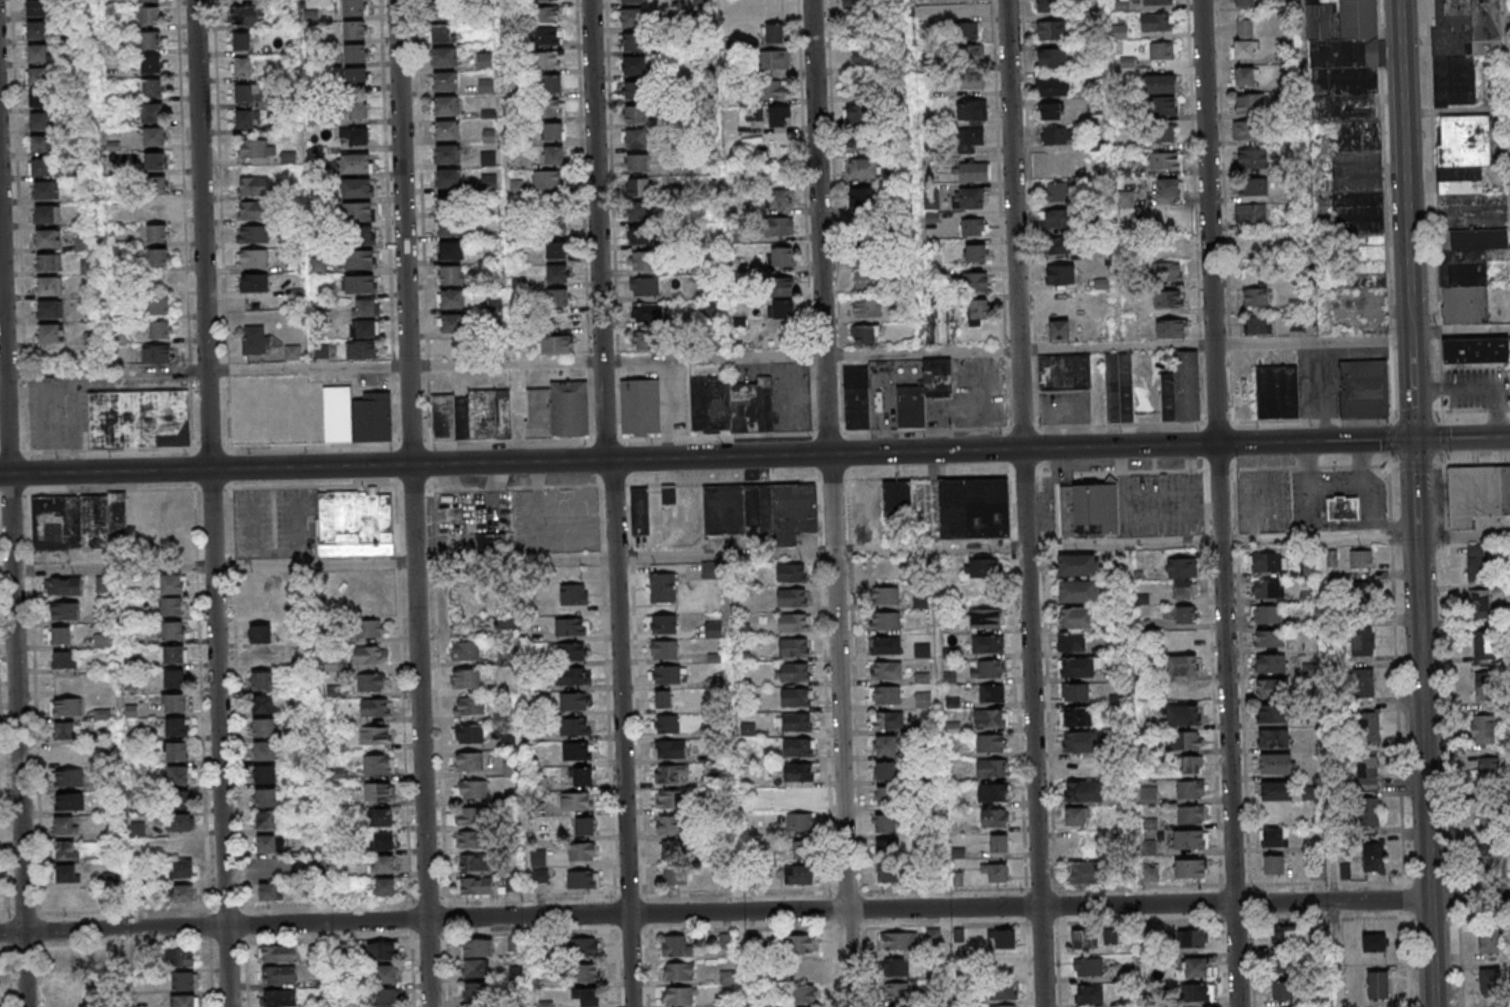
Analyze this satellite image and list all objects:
building: (149, 0)
building: (631, 1)
building: (1158, 1)
building: (1244, 2)
building: (851, 4)
building: (1122, 5)
building: (1046, 6)
building: (36, 8)
building: (356, 8)
building: (442, 11)
building: (547, 14)
building: (243, 15)
building: (148, 16)
building: (630, 17)
building: (1156, 21)
building: (354, 29)
building: (966, 30)
building: (1051, 30)
building: (36, 31)
building: (1119, 31)
building: (856, 32)
building: (774, 33)
building: (441, 34)
building: (548, 35)
building: (1244, 39)
building: (149, 40)
building: (241, 41)
building: (633, 42)
road: (1508, 45)
building: (1462, 46)
building: (1161, 51)
building: (355, 53)
building: (38, 54)
building: (971, 54)
building: (443, 57)
building: (861, 57)
building: (1052, 57)
building: (778, 59)
building: (547, 60)
building: (484, 61)
building: (151, 65)
building: (634, 65)
building: (242, 66)
building: (357, 76)
building: (1243, 77)
building: (444, 82)
building: (1160, 83)
building: (550, 84)
building: (486, 87)
building: (1050, 87)
building: (40, 88)
building: (854, 88)
building: (151, 89)
building: (774, 89)
building: (633, 90)
building: (247, 92)
building: (1249, 104)
building: (1163, 105)
building: (444, 106)
building: (357, 108)
building: (551, 108)
building: (971, 109)
building: (1050, 111)
building: (152, 113)
building: (635, 114)
building: (858, 115)
building: (779, 116)
building: (244, 119)
building: (40, 122)
building: (1246, 129)
building: (445, 131)
building: (551, 131)
building: (1158, 134)
building: (1349, 134)
building: (355, 135)
building: (1055, 135)
building: (153, 138)
building: (635, 138)
building: (969, 138)
building: (859, 142)
building: (40, 145)
building: (256, 148)
building: (1462, 153)
building: (446, 155)
building: (552, 155)
building: (1251, 158)
building: (154, 161)
building: (637, 162)
building: (1166, 162)
building: (355, 163)
building: (41, 168)
building: (862, 169)
building: (972, 170)
road: (1309, 170)
road: (1112, 173)
building: (447, 179)
building: (547, 180)
building: (159, 184)
building: (253, 185)
building: (638, 186)
building: (1253, 186)
building: (358, 188)
building: (1168, 189)
building: (44, 190)
building: (1057, 192)
building: (968, 197)
building: (863, 198)
building: (778, 199)
building: (449, 203)
building: (253, 209)
building: (158, 210)
building: (358, 211)
building: (639, 211)
building: (47, 214)
building: (1250, 214)
building: (1058, 219)
building: (557, 220)
road: (1412, 220)
building: (974, 226)
building: (448, 228)
building: (779, 228)
building: (253, 233)
building: (157, 234)
building: (362, 236)
building: (640, 236)
building: (45, 238)
building: (1059, 245)
building: (557, 250)
building: (449, 251)
building: (976, 252)
building: (253, 257)
building: (782, 257)
building: (157, 258)
building: (361, 260)
building: (48, 261)
building: (642, 261)
building: (1167, 272)
building: (557, 273)
building: (1467, 273)
building: (1060, 274)
building: (451, 275)
building: (865, 280)
building: (254, 282)
building: (975, 282)
building: (359, 283)
building: (48, 285)
building: (644, 287)
building: (781, 287)
building: (1255, 296)
building: (559, 297)
building: (450, 298)
building: (1168, 300)
building: (1061, 301)
building: (159, 305)
building: (365, 307)
building: (865, 307)
building: (48, 308)
building: (781, 309)
building: (978, 311)
building: (648, 313)
building: (939, 321)
building: (452, 322)
building: (1256, 324)
building: (367, 328)
building: (1059, 329)
building: (1168, 329)
road: (1463, 329)
building: (159, 330)
building: (51, 332)
building: (865, 334)
building: (256, 339)
building: (645, 342)
road: (1220, 343)
building: (556, 344)
building: (362, 349)
building: (1475, 350)
building: (292, 352)
road: (927, 353)
building: (157, 355)
road: (719, 360)
road: (511, 365)
road: (313, 369)
building: (1064, 372)
road: (110, 374)
road: (4, 376)
building: (1119, 387)
building: (1363, 388)
building: (1184, 389)
building: (1277, 392)
building: (923, 394)
building: (857, 397)
building: (731, 406)
building: (640, 407)
building: (558, 410)
building: (357, 415)
building: (472, 415)
building: (138, 419)
road: (77, 423)
road: (51, 424)
road: (1465, 438)
traffic signals: (1421, 440)
road: (1321, 441)
road: (611, 460)
road: (1420, 466)
road: (1336, 482)
building: (1477, 494)
building: (897, 497)
road: (619, 502)
road: (216, 503)
road: (419, 503)
road: (836, 503)
road: (1029, 503)
road: (1225, 503)
building: (1342, 507)
building: (974, 508)
building: (761, 510)
building: (1088, 510)
building: (640, 511)
building: (79, 521)
building: (355, 523)
road: (1466, 537)
building: (491, 540)
road: (1325, 540)
road: (1129, 544)
road: (826, 552)
road: (521, 558)
road: (15, 559)
building: (1361, 559)
building: (1268, 562)
road: (318, 563)
building: (1478, 563)
building: (1077, 566)
road: (116, 567)
building: (1182, 567)
building: (982, 568)
building: (791, 572)
building: (171, 584)
building: (62, 586)
building: (663, 587)
building: (1185, 589)
building: (1267, 589)
building: (1079, 592)
building: (574, 594)
building: (1363, 594)
building: (885, 596)
building: (792, 597)
building: (476, 601)
building: (1479, 603)
building: (171, 606)
building: (63, 610)
building: (1266, 613)
building: (1186, 614)
building: (985, 617)
building: (1075, 618)
building: (884, 620)
building: (794, 622)
building: (508, 623)
building: (662, 624)
building: (570, 626)
building: (369, 629)
building: (713, 629)
building: (173, 630)
building: (60, 634)
building: (261, 635)
building: (1267, 638)
building: (1364, 641)
building: (1073, 642)
building: (987, 643)
building: (884, 645)
building: (793, 647)
building: (1484, 647)
building: (662, 649)
building: (922, 650)
building: (572, 651)
building: (465, 652)
building: (173, 654)
building: (370, 655)
building: (64, 659)
building: (262, 659)
building: (1269, 662)
building: (1181, 665)
building: (1079, 667)
building: (987, 668)
road: (1427, 669)
building: (886, 670)
building: (794, 671)
building: (668, 674)
building: (572, 676)
building: (174, 677)
building: (466, 679)
building: (262, 681)
building: (374, 681)
building: (1363, 682)
building: (1483, 687)
building: (1270, 688)
building: (992, 693)
building: (1076, 693)
building: (885, 694)
building: (797, 696)
building: (663, 698)
building: (923, 699)
building: (574, 701)
building: (174, 702)
building: (263, 705)
building: (66, 706)
building: (375, 707)
building: (469, 707)
building: (1272, 713)
building: (1183, 715)
building: (1076, 716)
building: (990, 718)
building: (888, 720)
building: (794, 721)
building: (665, 723)
building: (176, 726)
building: (575, 726)
building: (262, 728)
building: (1368, 728)
building: (1483, 729)
building: (65, 730)
building: (375, 735)
building: (468, 735)
building: (1273, 738)
building: (508, 741)
building: (1080, 741)
building: (1185, 741)
building: (990, 743)
building: (886, 744)
building: (798, 747)
building: (671, 749)
building: (176, 751)
building: (264, 751)
building: (577, 752)
building: (67, 754)
building: (469, 762)
building: (1275, 763)
building: (378, 764)
building: (1190, 765)
building: (991, 768)
building: (510, 769)
building: (884, 770)
building: (1366, 770)
building: (798, 771)
building: (1488, 771)
building: (265, 773)
building: (669, 773)
road: (1328, 773)
building: (177, 776)
building: (582, 777)
road: (944, 778)
building: (67, 779)
road: (741, 781)
building: (1190, 789)
building: (472, 790)
building: (1275, 790)
building: (378, 792)
building: (993, 792)
building: (1084, 793)
building: (1148, 795)
building: (803, 796)
building: (887, 796)
building: (265, 797)
building: (671, 799)
building: (578, 802)
building: (69, 803)
building: (1369, 811)
building: (1193, 814)
building: (473, 817)
building: (1074, 817)
building: (382, 818)
building: (994, 818)
building: (265, 819)
building: (1490, 820)
building: (799, 822)
building: (178, 823)
building: (884, 823)
building: (668, 826)
building: (64, 827)
building: (583, 827)
building: (137, 830)
building: (1273, 837)
building: (1191, 839)
building: (469, 840)
building: (383, 842)
building: (269, 843)
building: (999, 843)
building: (178, 846)
building: (803, 849)
building: (888, 849)
building: (674, 850)
building: (65, 851)
road: (527, 852)
building: (582, 852)
building: (1374, 857)
building: (538, 859)
building: (1491, 860)
building: (475, 863)
building: (383, 865)
building: (1273, 865)
building: (267, 867)
building: (181, 869)
building: (1189, 869)
building: (995, 871)
building: (1085, 873)
building: (1317, 873)
building: (65, 874)
building: (799, 874)
building: (888, 874)
building: (1151, 874)
building: (540, 876)
building: (675, 876)
building: (583, 879)
building: (512, 884)
building: (476, 886)
building: (383, 888)
building: (268, 891)
building: (181, 893)
building: (66, 898)
road: (754, 911)
building: (1286, 936)
building: (1003, 937)
building: (1193, 938)
building: (1080, 940)
building: (899, 941)
building: (1489, 941)
building: (1374, 942)
building: (799, 944)
building: (584, 946)
building: (676, 946)
building: (477, 948)
building: (382, 950)
road: (1437, 953)
building: (276, 954)
building: (182, 957)
building: (1005, 965)
building: (1284, 966)
building: (896, 967)
building: (1088, 967)
building: (1197, 968)
building: (474, 969)
building: (801, 969)
building: (74, 972)
building: (677, 972)
building: (1128, 972)
building: (386, 973)
building: (515, 973)
building: (279, 974)
building: (588, 974)
building: (1490, 977)
building: (184, 981)
building: (1378, 984)
building: (475, 991)
building: (1003, 991)
building: (895, 992)
building: (1282, 992)
building: (799, 993)
building: (1197, 993)
building: (1089, 994)
building: (679, 995)
building: (386, 996)
building: (278, 997)
building: (588, 998)
building: (73, 1001)
building: (182, 1001)
building: (1002, 1006)

